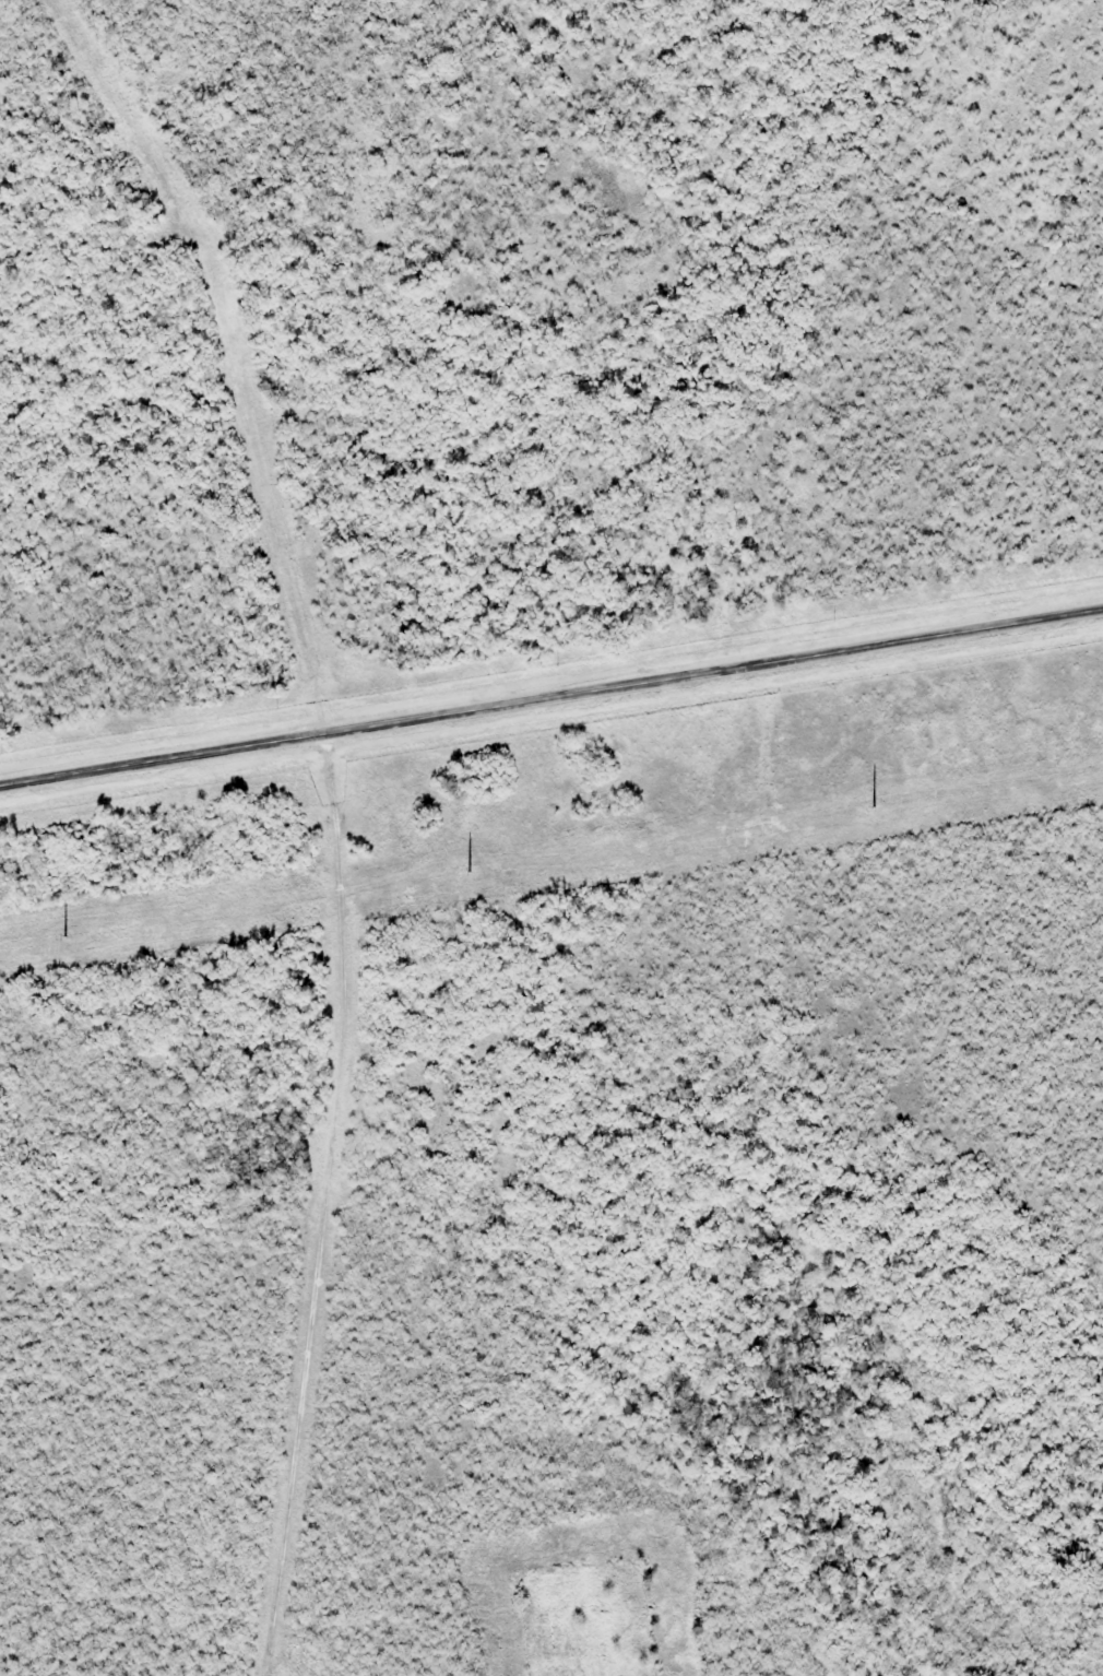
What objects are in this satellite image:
road: (551, 695)
power tower: (863, 809)
road: (320, 814)
power tower: (458, 873)
power tower: (52, 939)

